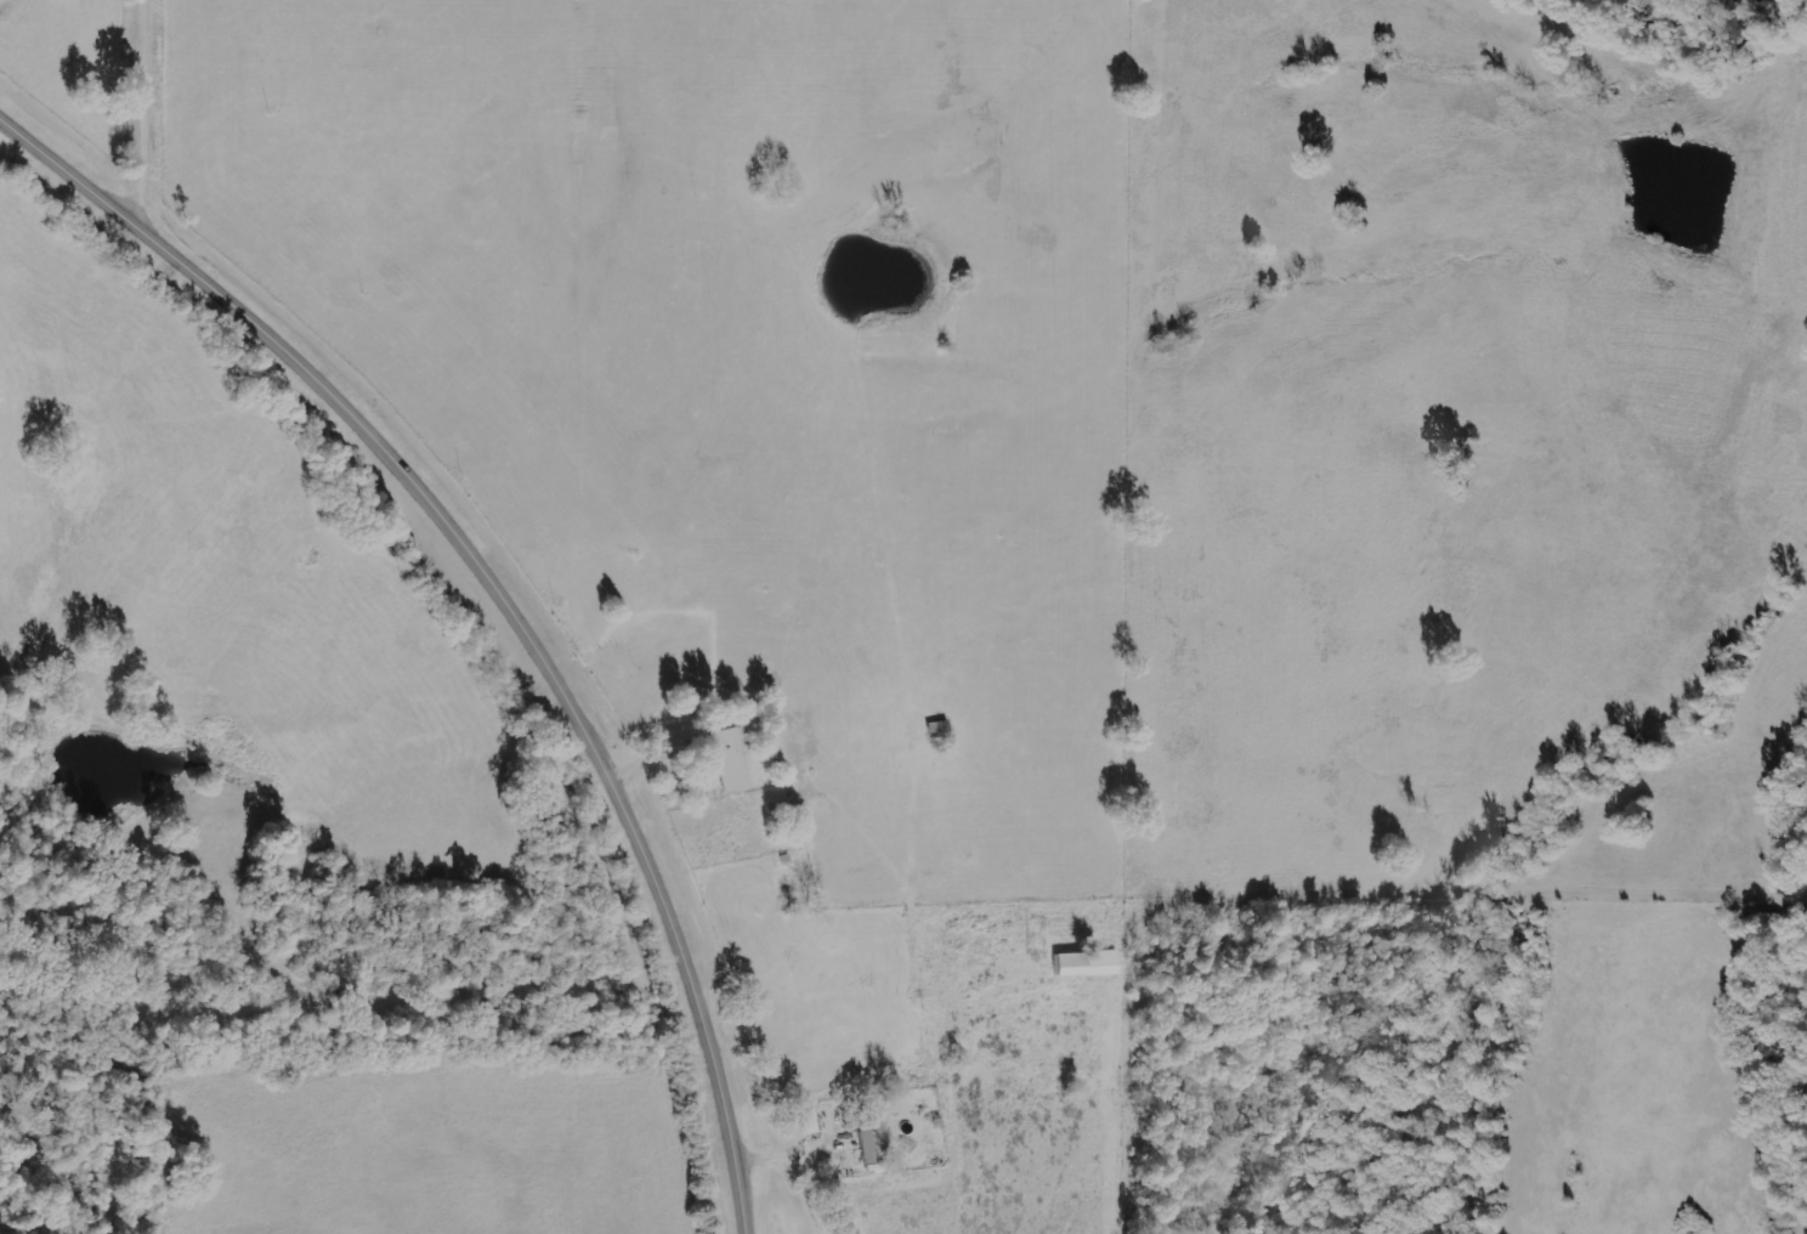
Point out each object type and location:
road: (152, 115)
road: (497, 595)
building: (731, 757)
building: (1086, 963)
building: (806, 1121)
building: (866, 1142)

